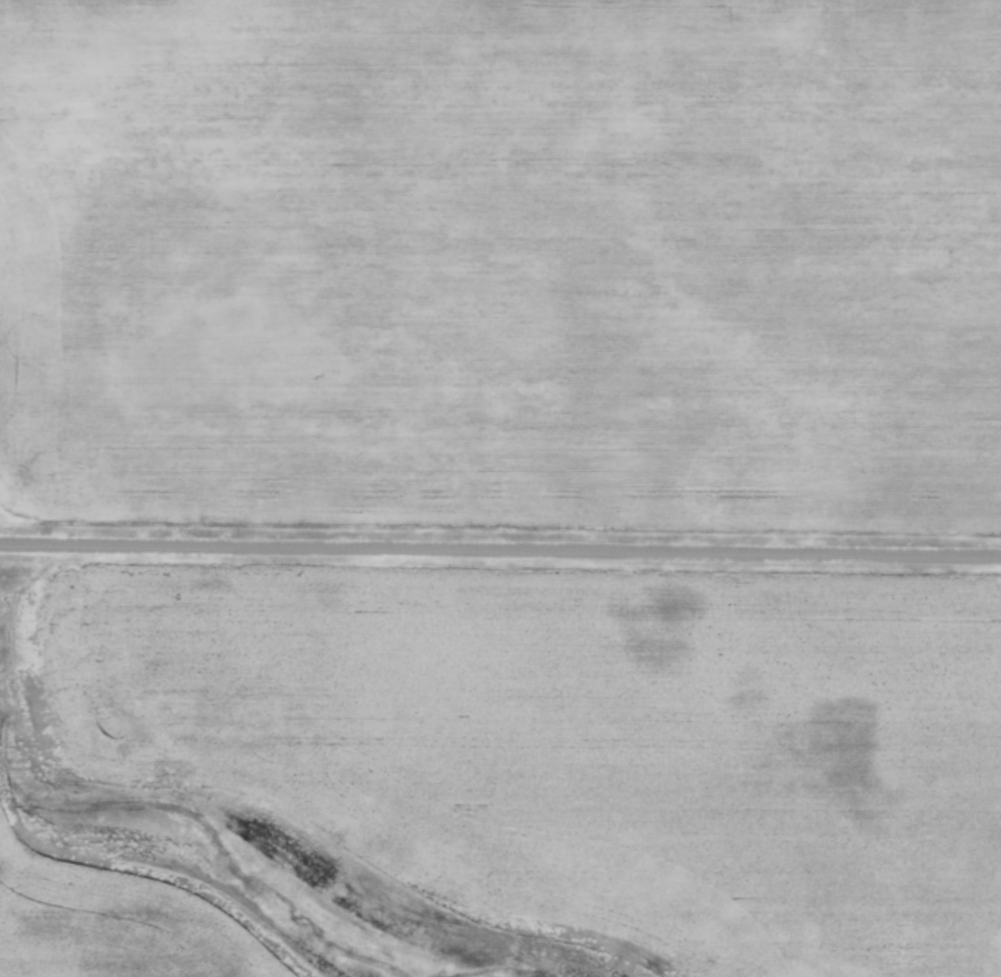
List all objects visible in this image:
road: (500, 543)

